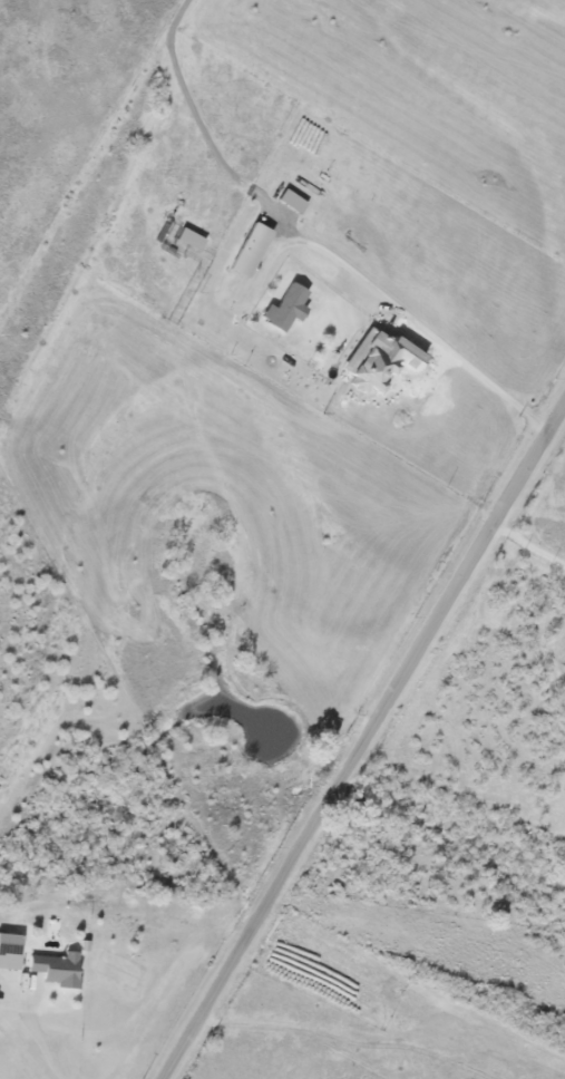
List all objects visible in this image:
building: (251, 250)
building: (286, 308)
road: (422, 327)
road: (529, 544)
road: (363, 746)
building: (10, 951)
building: (58, 969)
road: (35, 1028)

